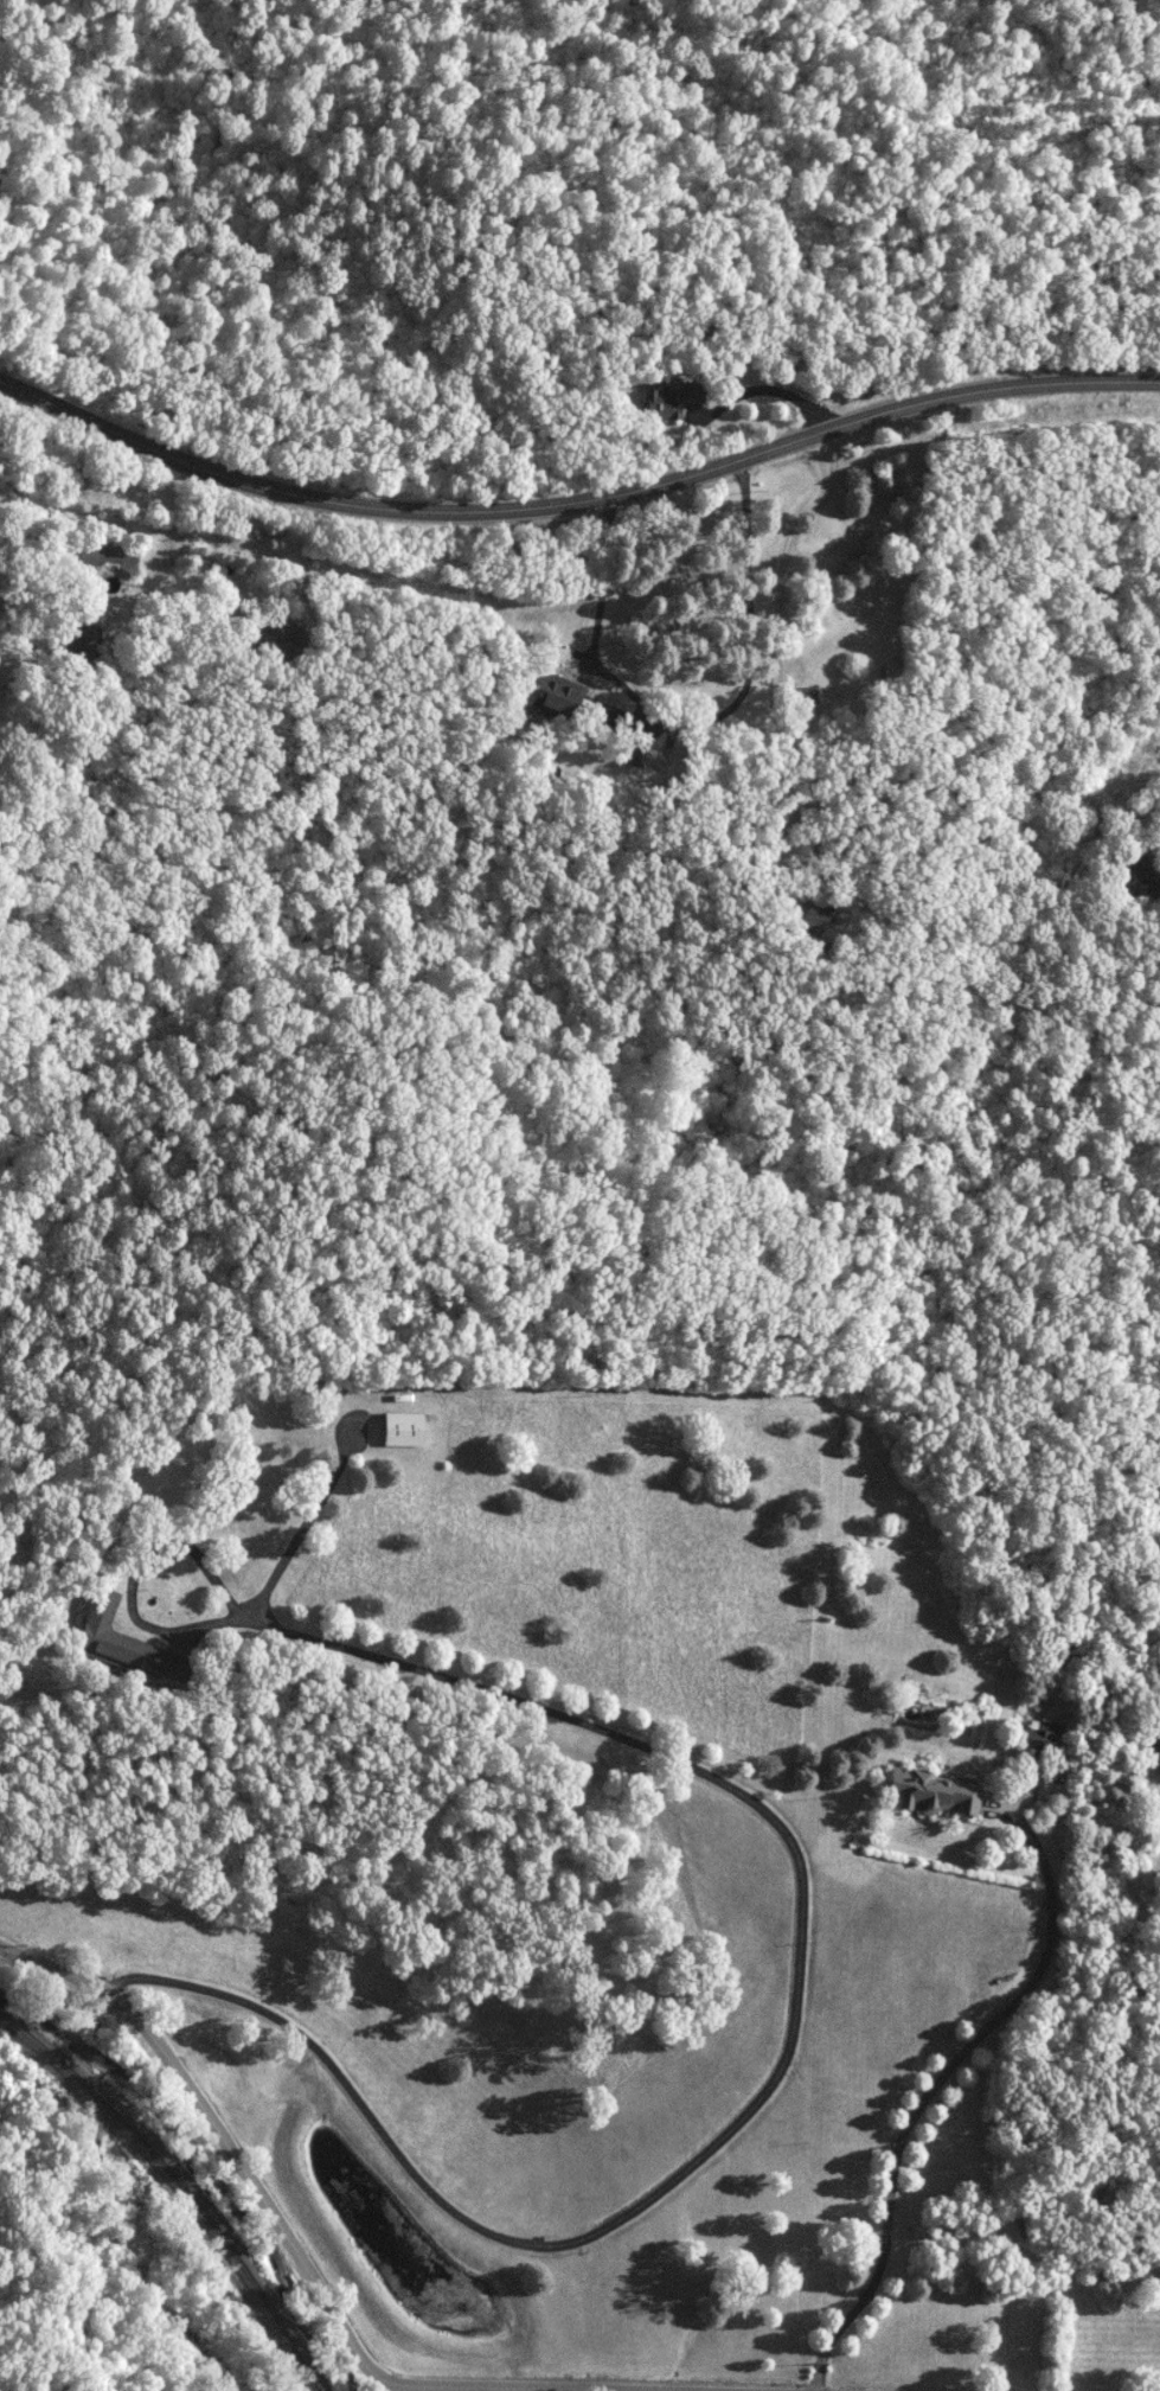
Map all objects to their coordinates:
building: (673, 399)
road: (578, 511)
road: (991, 517)
road: (188, 531)
building: (114, 557)
building: (276, 638)
building: (85, 644)
building: (559, 695)
building: (809, 695)
road: (773, 716)
road: (698, 720)
building: (636, 753)
building: (1091, 803)
building: (1145, 867)
building: (816, 922)
building: (405, 1430)
building: (129, 1643)
building: (1044, 1735)
building: (1154, 1749)
building: (938, 1792)
road: (801, 1919)
road: (930, 2077)
road: (218, 2135)
railway: (173, 2192)
road: (383, 2387)
road: (479, 2387)

